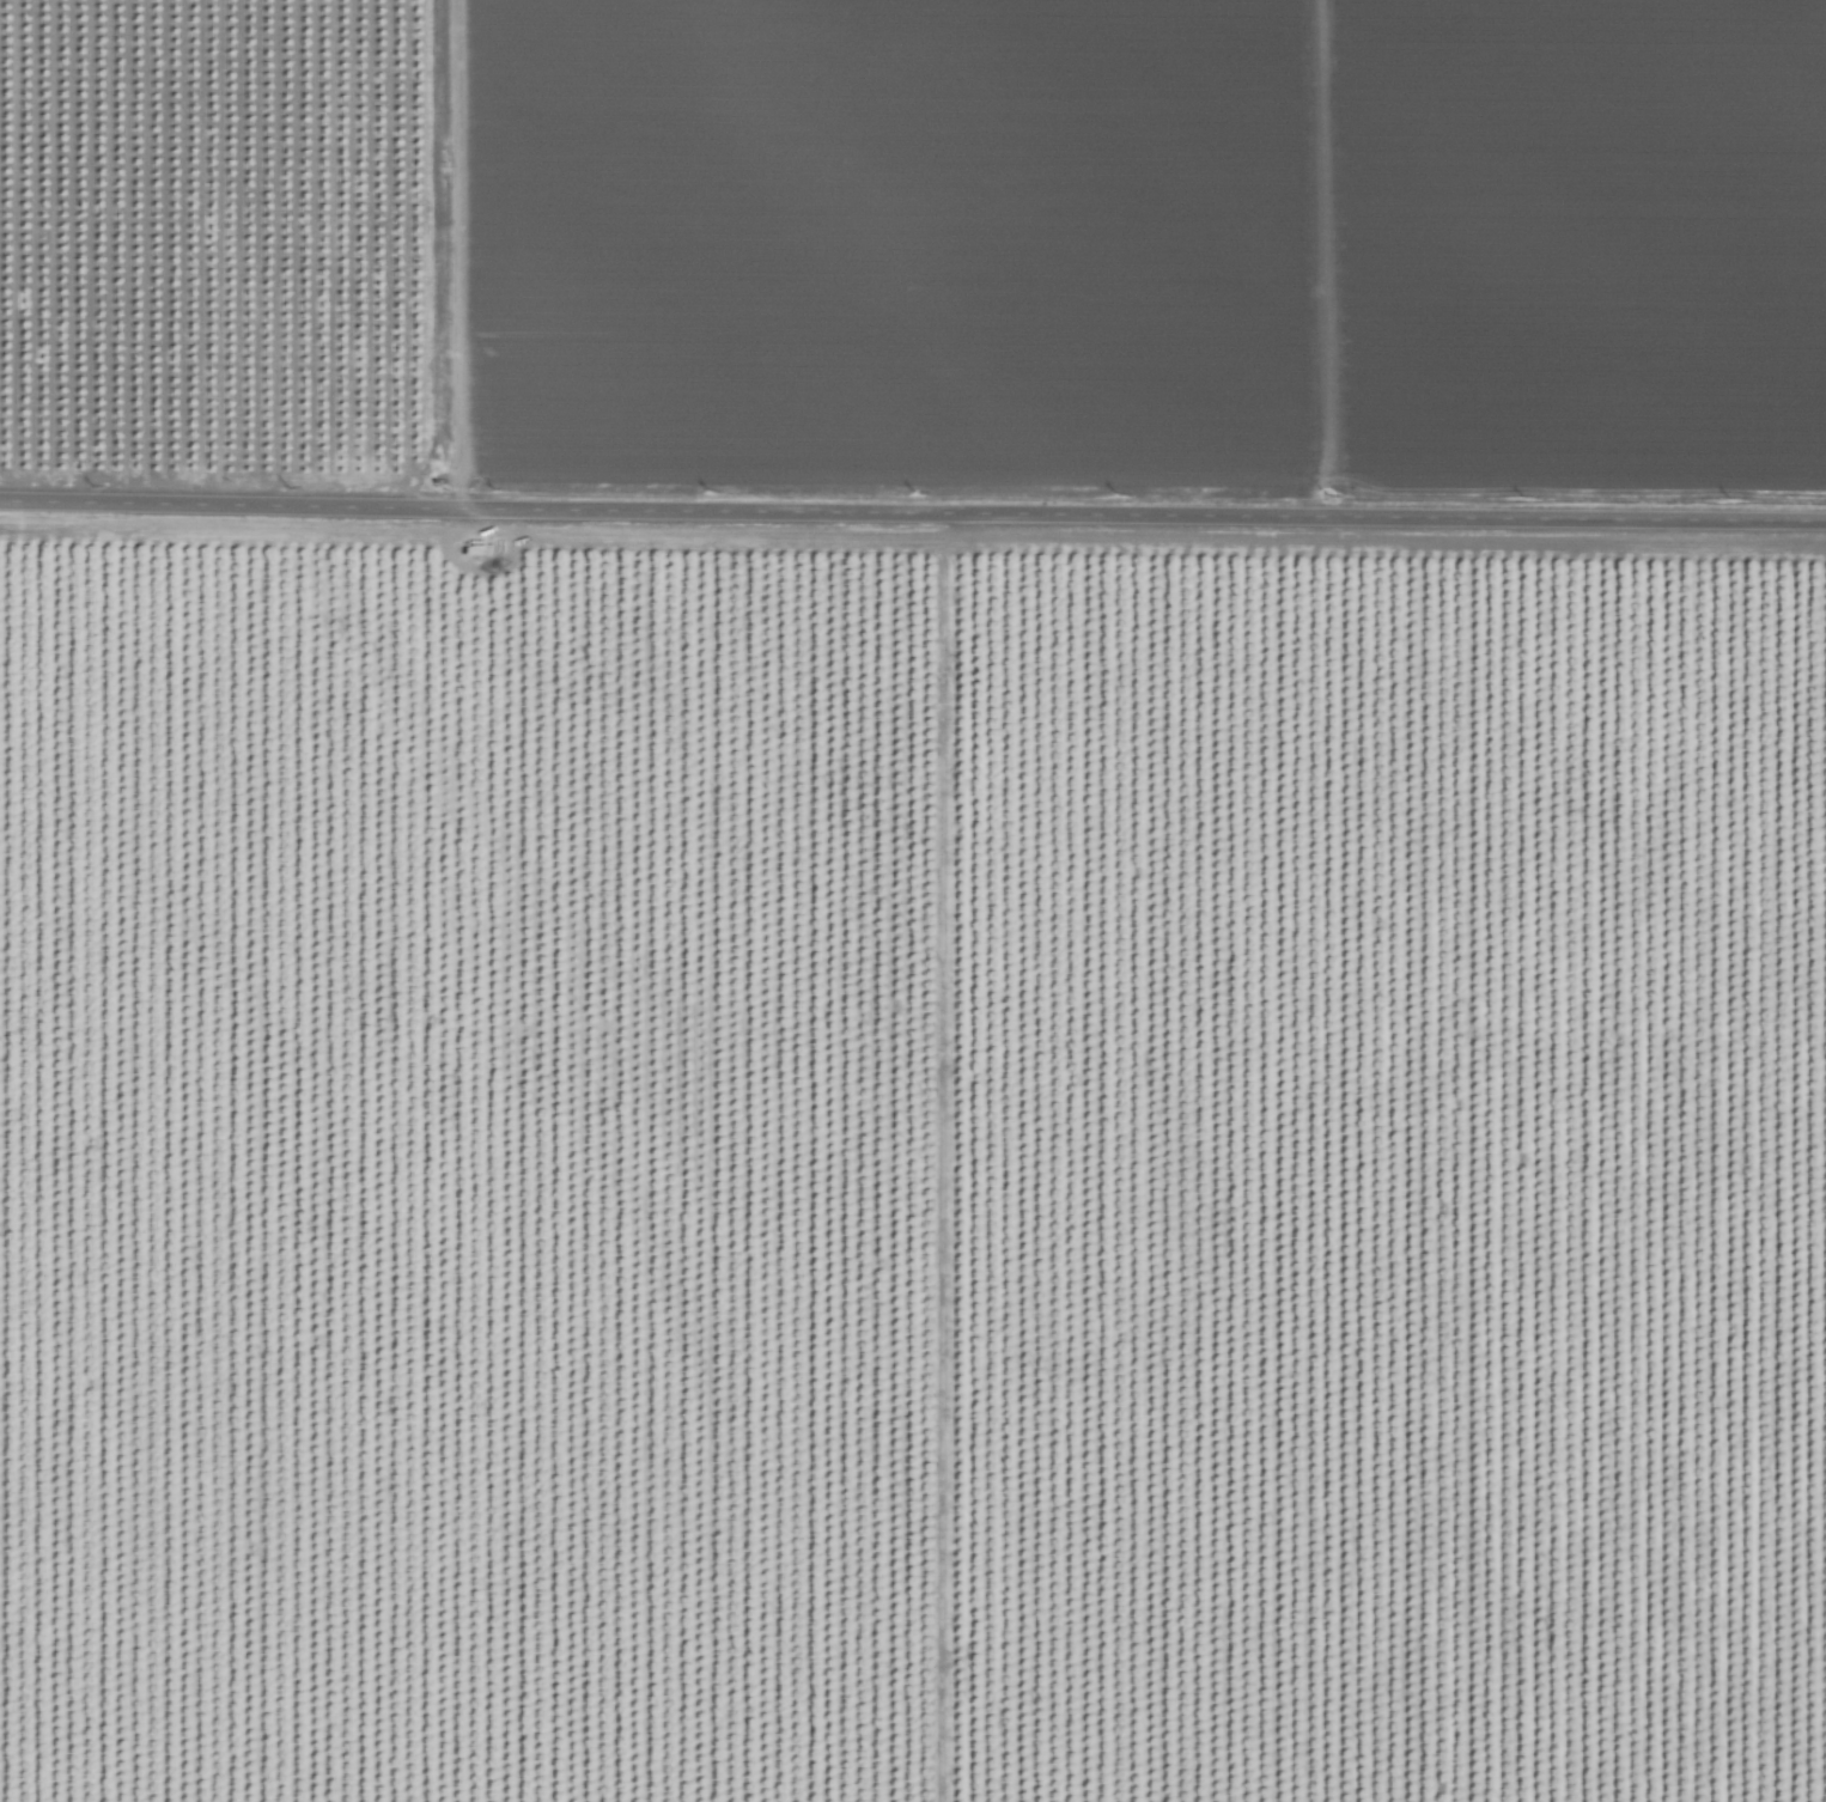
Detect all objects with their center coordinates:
road: (449, 255)
road: (912, 515)
road: (966, 1158)

